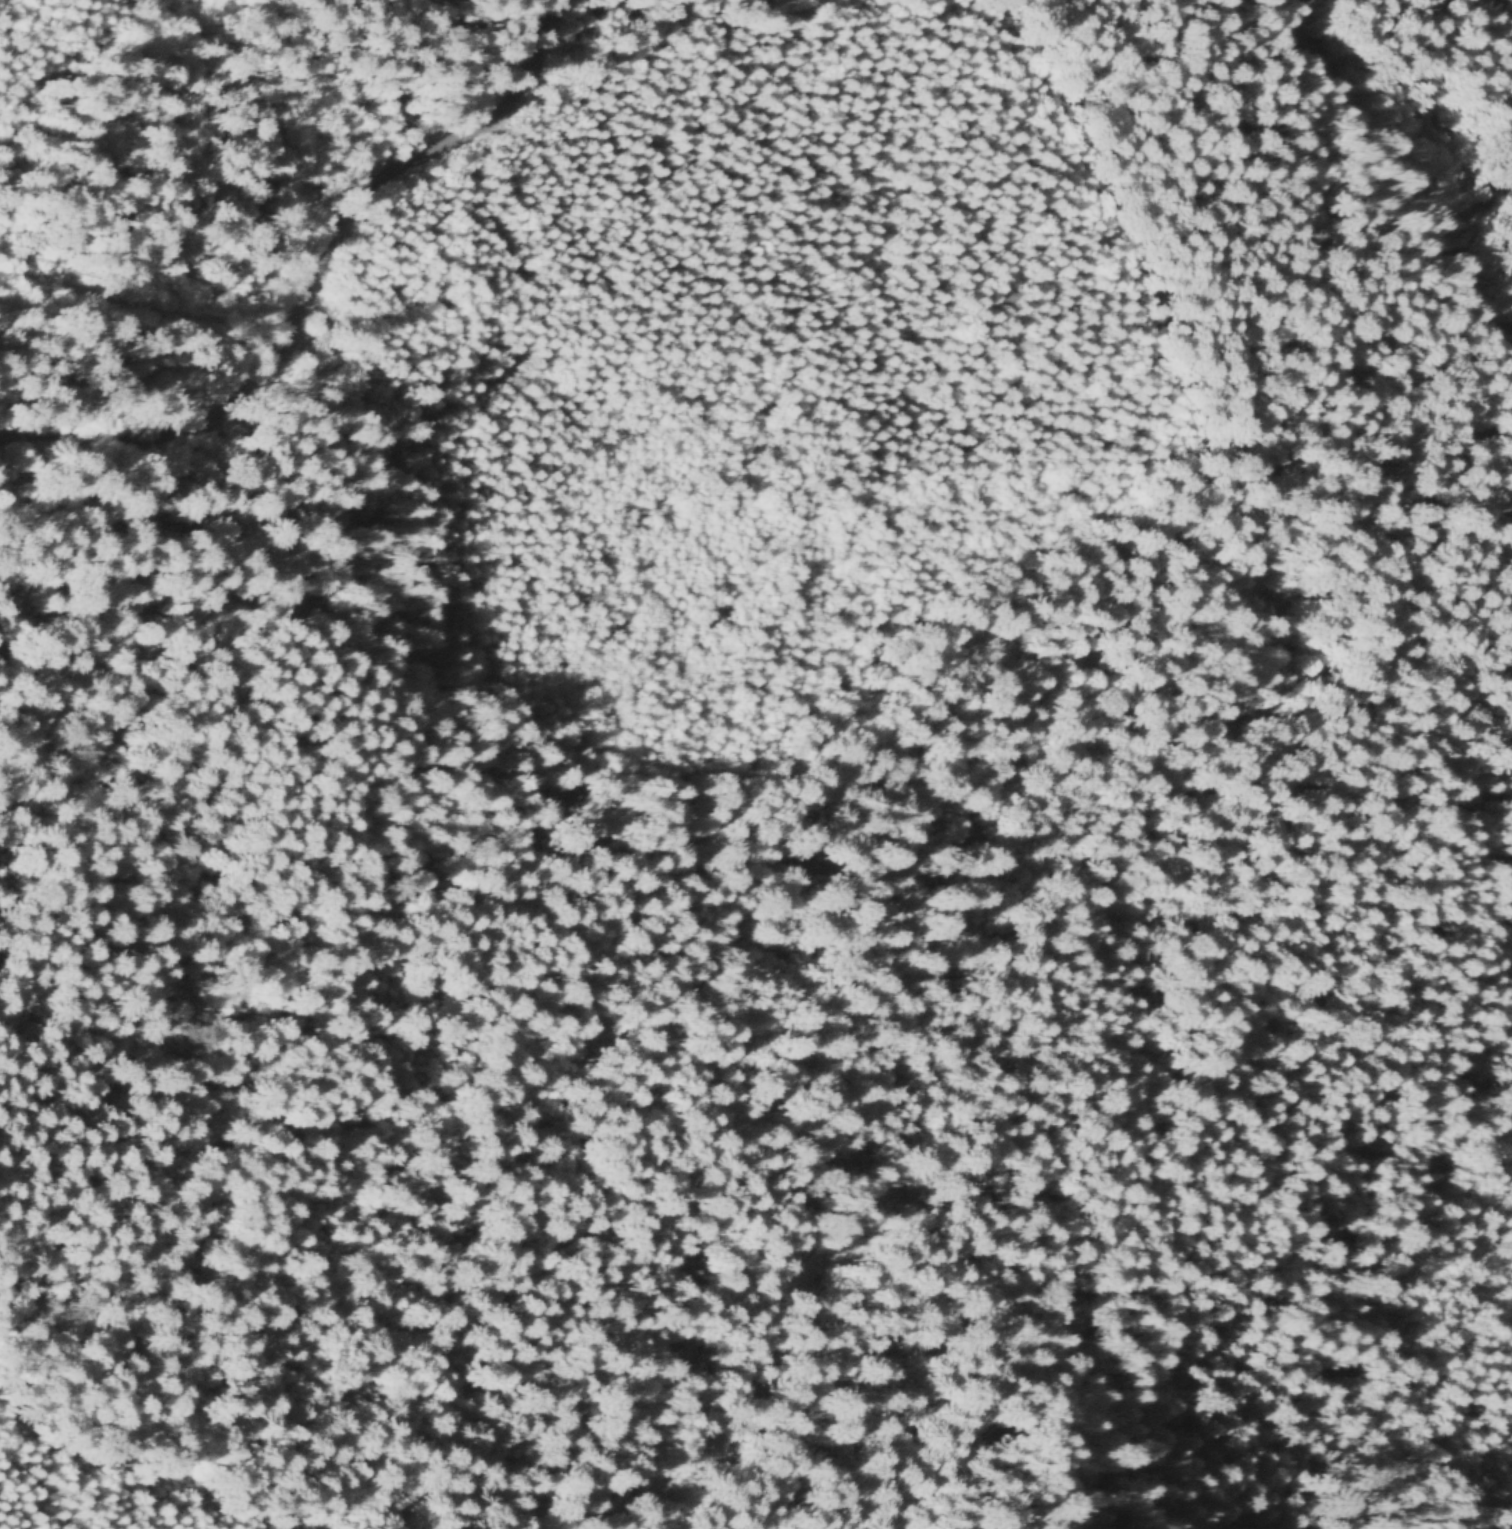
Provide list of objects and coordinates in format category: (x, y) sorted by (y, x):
road: (1402, 156)
road: (317, 292)
road: (1360, 792)
road: (1387, 1464)

